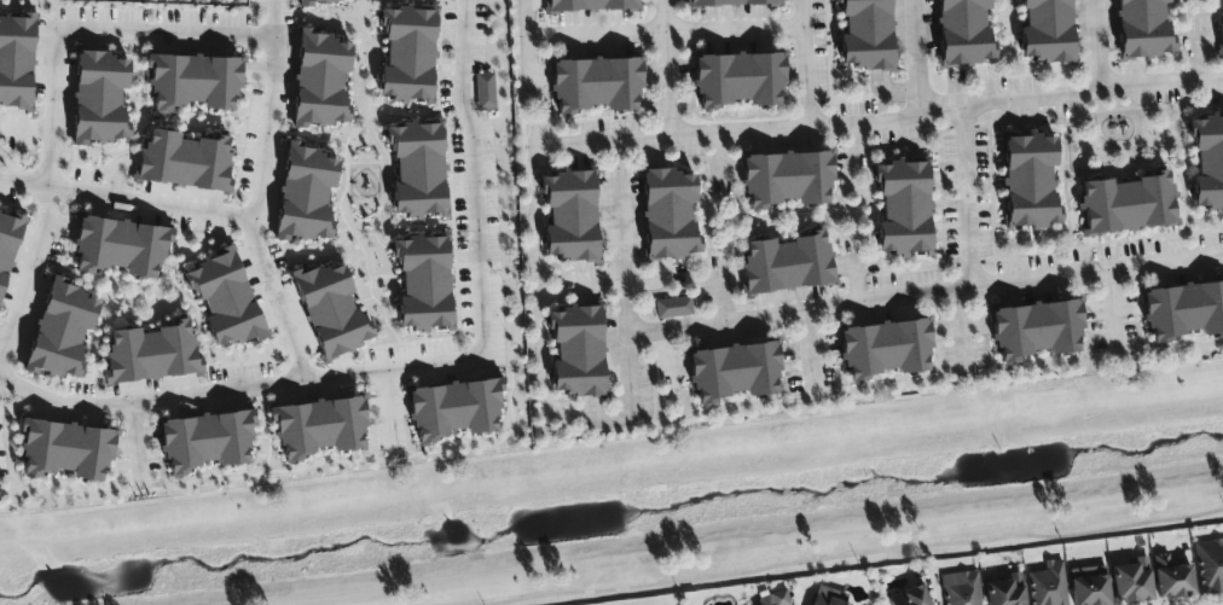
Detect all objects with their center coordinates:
building: (313, 2)
building: (730, 2)
building: (591, 5)
building: (1222, 25)
road: (667, 28)
building: (1142, 29)
building: (1047, 30)
building: (963, 33)
building: (865, 34)
road: (528, 40)
road: (1096, 47)
building: (407, 54)
road: (916, 58)
building: (16, 62)
building: (320, 80)
building: (737, 80)
building: (193, 82)
building: (595, 85)
road: (53, 87)
building: (485, 92)
building: (99, 98)
road: (1018, 101)
road: (738, 132)
road: (576, 142)
building: (184, 161)
building: (1207, 161)
building: (417, 169)
road: (115, 173)
building: (787, 179)
building: (1028, 181)
road: (259, 194)
building: (305, 194)
road: (967, 198)
road: (127, 200)
building: (1128, 204)
building: (903, 208)
building: (668, 214)
building: (569, 216)
building: (7, 246)
building: (786, 263)
building: (423, 283)
road: (604, 283)
road: (654, 283)
building: (225, 299)
road: (724, 299)
building: (673, 308)
building: (331, 310)
road: (810, 310)
road: (1112, 310)
building: (1183, 310)
road: (961, 330)
building: (1037, 330)
building: (62, 331)
building: (885, 349)
road: (810, 350)
building: (576, 351)
building: (151, 354)
road: (633, 367)
road: (415, 368)
building: (734, 372)
building: (454, 408)
road: (393, 413)
building: (318, 426)
building: (205, 441)
road: (135, 447)
building: (66, 450)
road: (858, 554)
building: (1210, 566)
building: (1171, 578)
building: (1132, 581)
building: (1048, 584)
building: (1089, 586)
building: (961, 588)
building: (1005, 591)
building: (824, 597)
building: (910, 597)
building: (778, 598)

